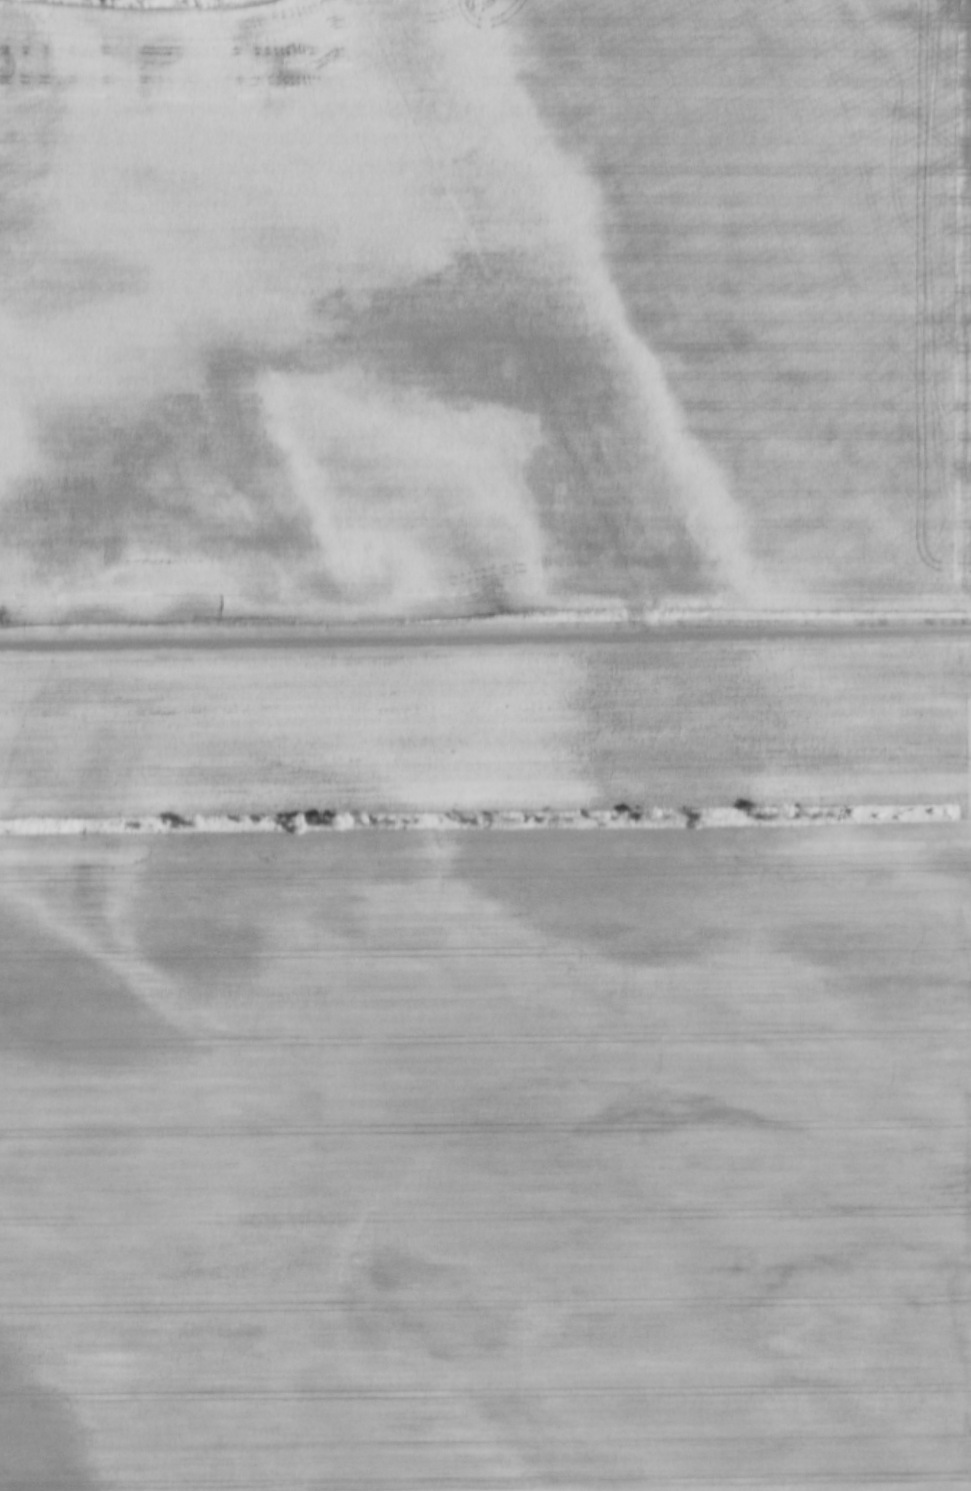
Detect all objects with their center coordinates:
road: (485, 641)

